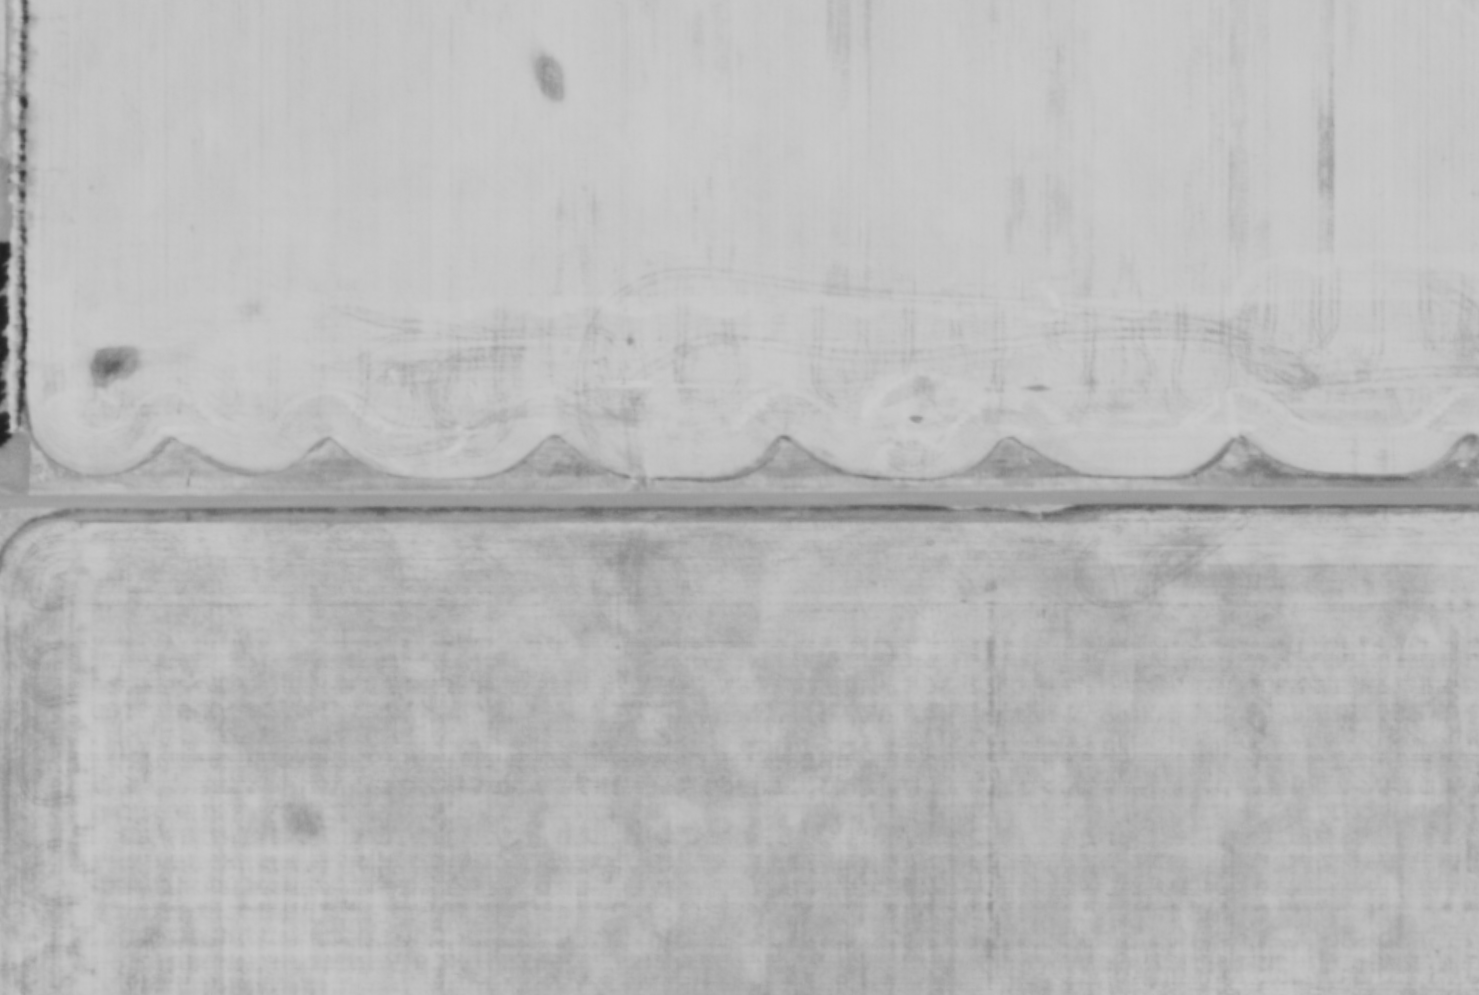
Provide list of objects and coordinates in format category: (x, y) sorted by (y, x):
road: (739, 497)

